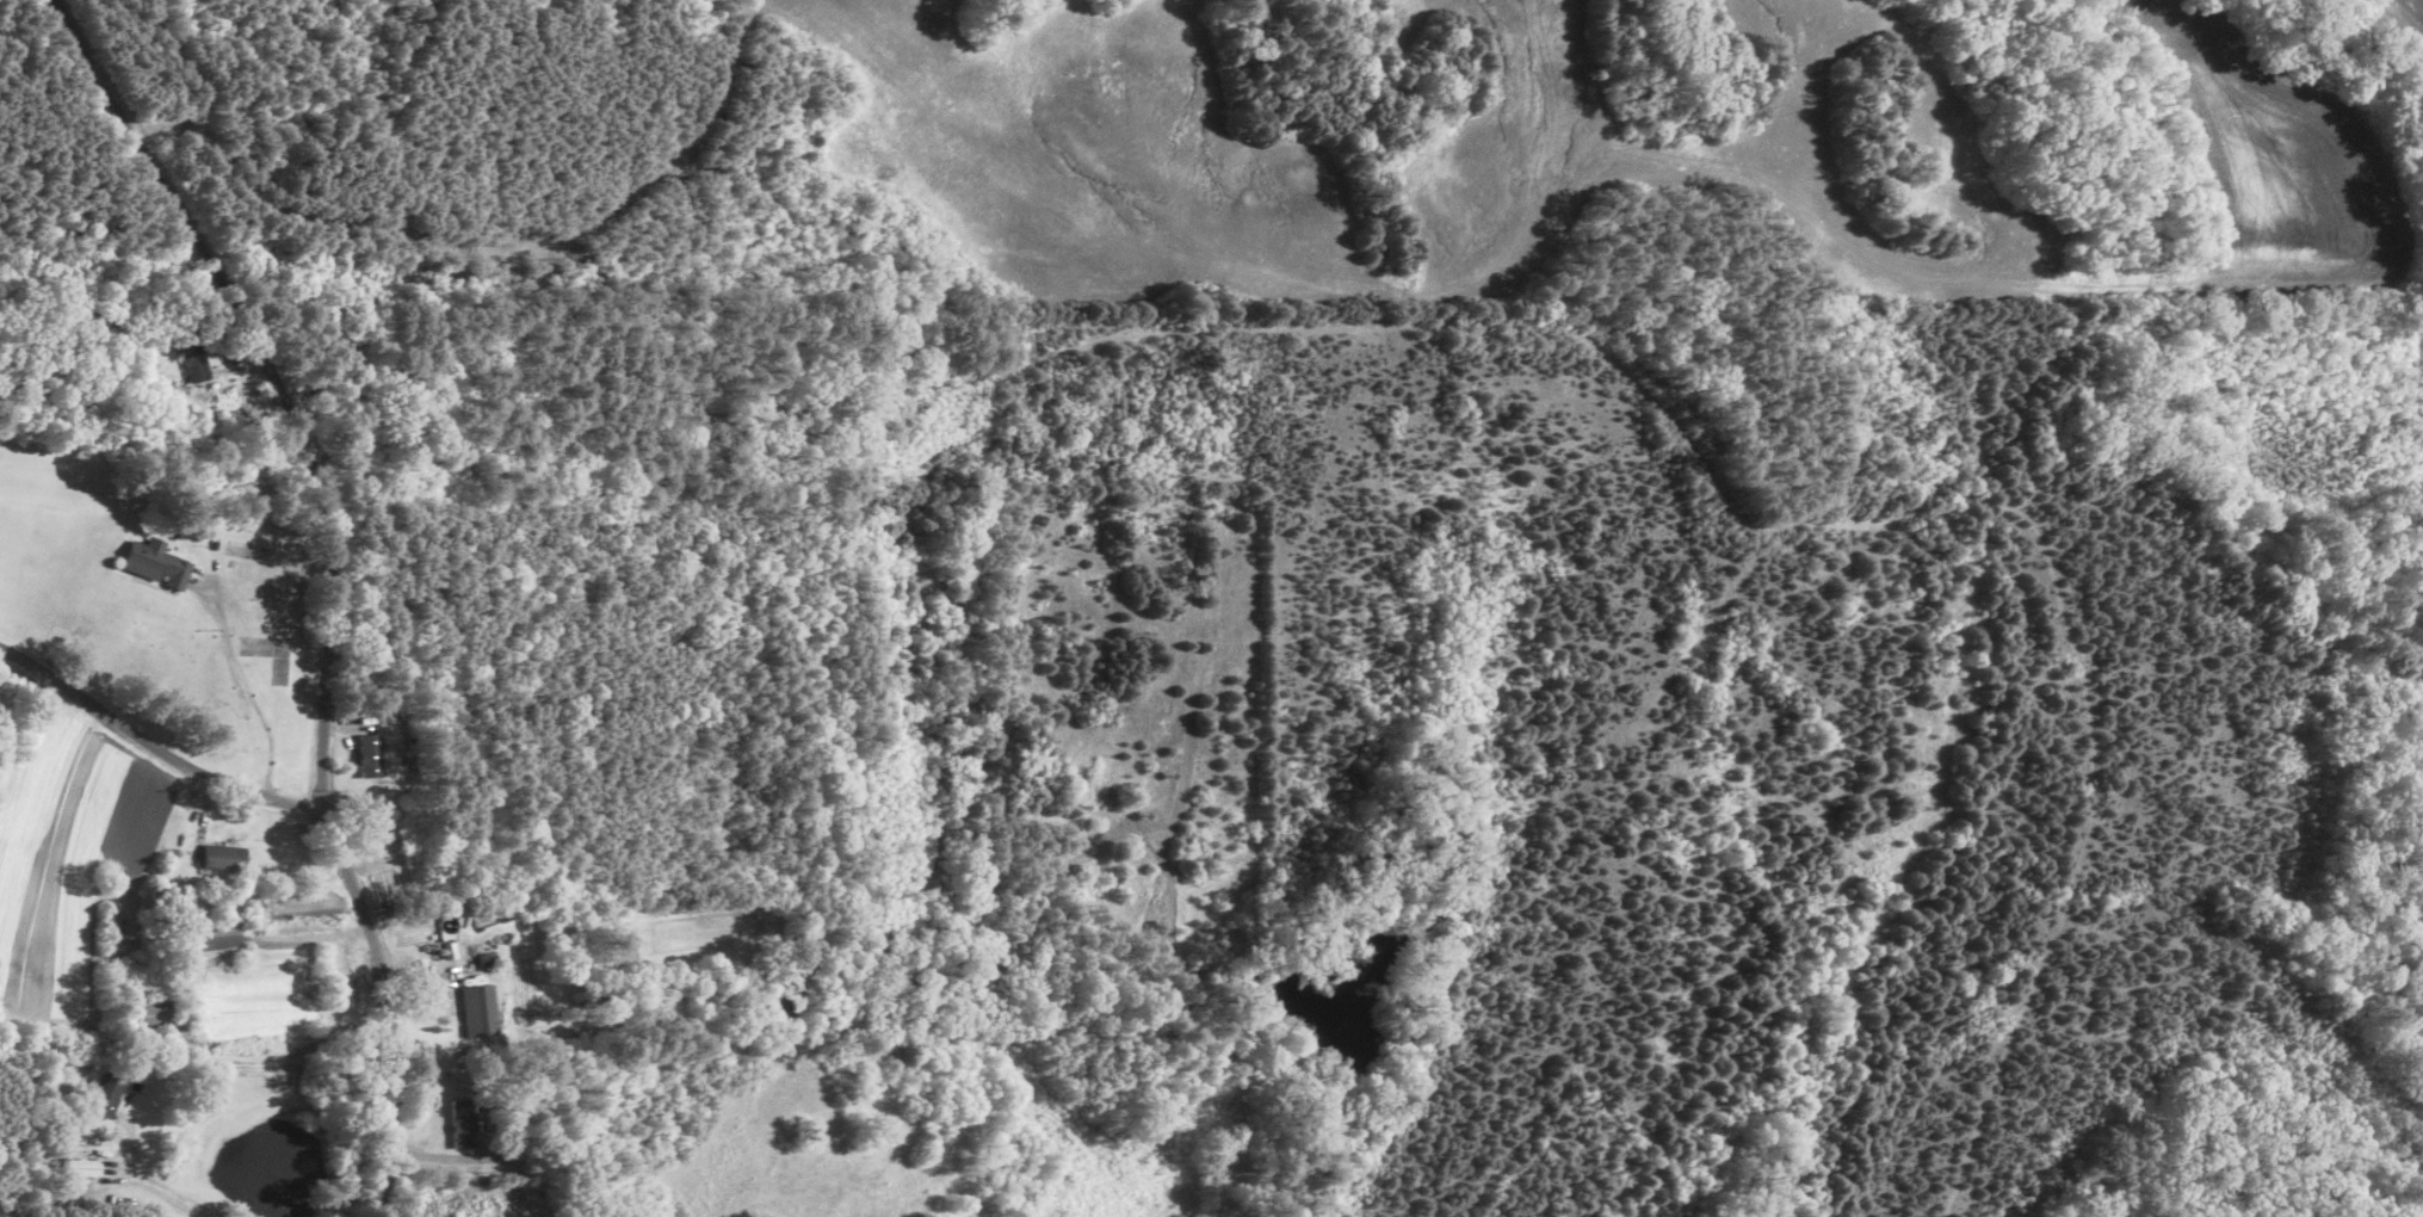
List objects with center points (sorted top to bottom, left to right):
building: (192, 360)
building: (230, 486)
building: (155, 563)
road: (352, 577)
road: (248, 692)
road: (150, 754)
building: (400, 845)
building: (224, 858)
road: (273, 863)
building: (321, 974)
building: (478, 1011)
building: (152, 1015)
building: (106, 1095)
building: (462, 1124)
building: (84, 1170)
road: (163, 1182)

